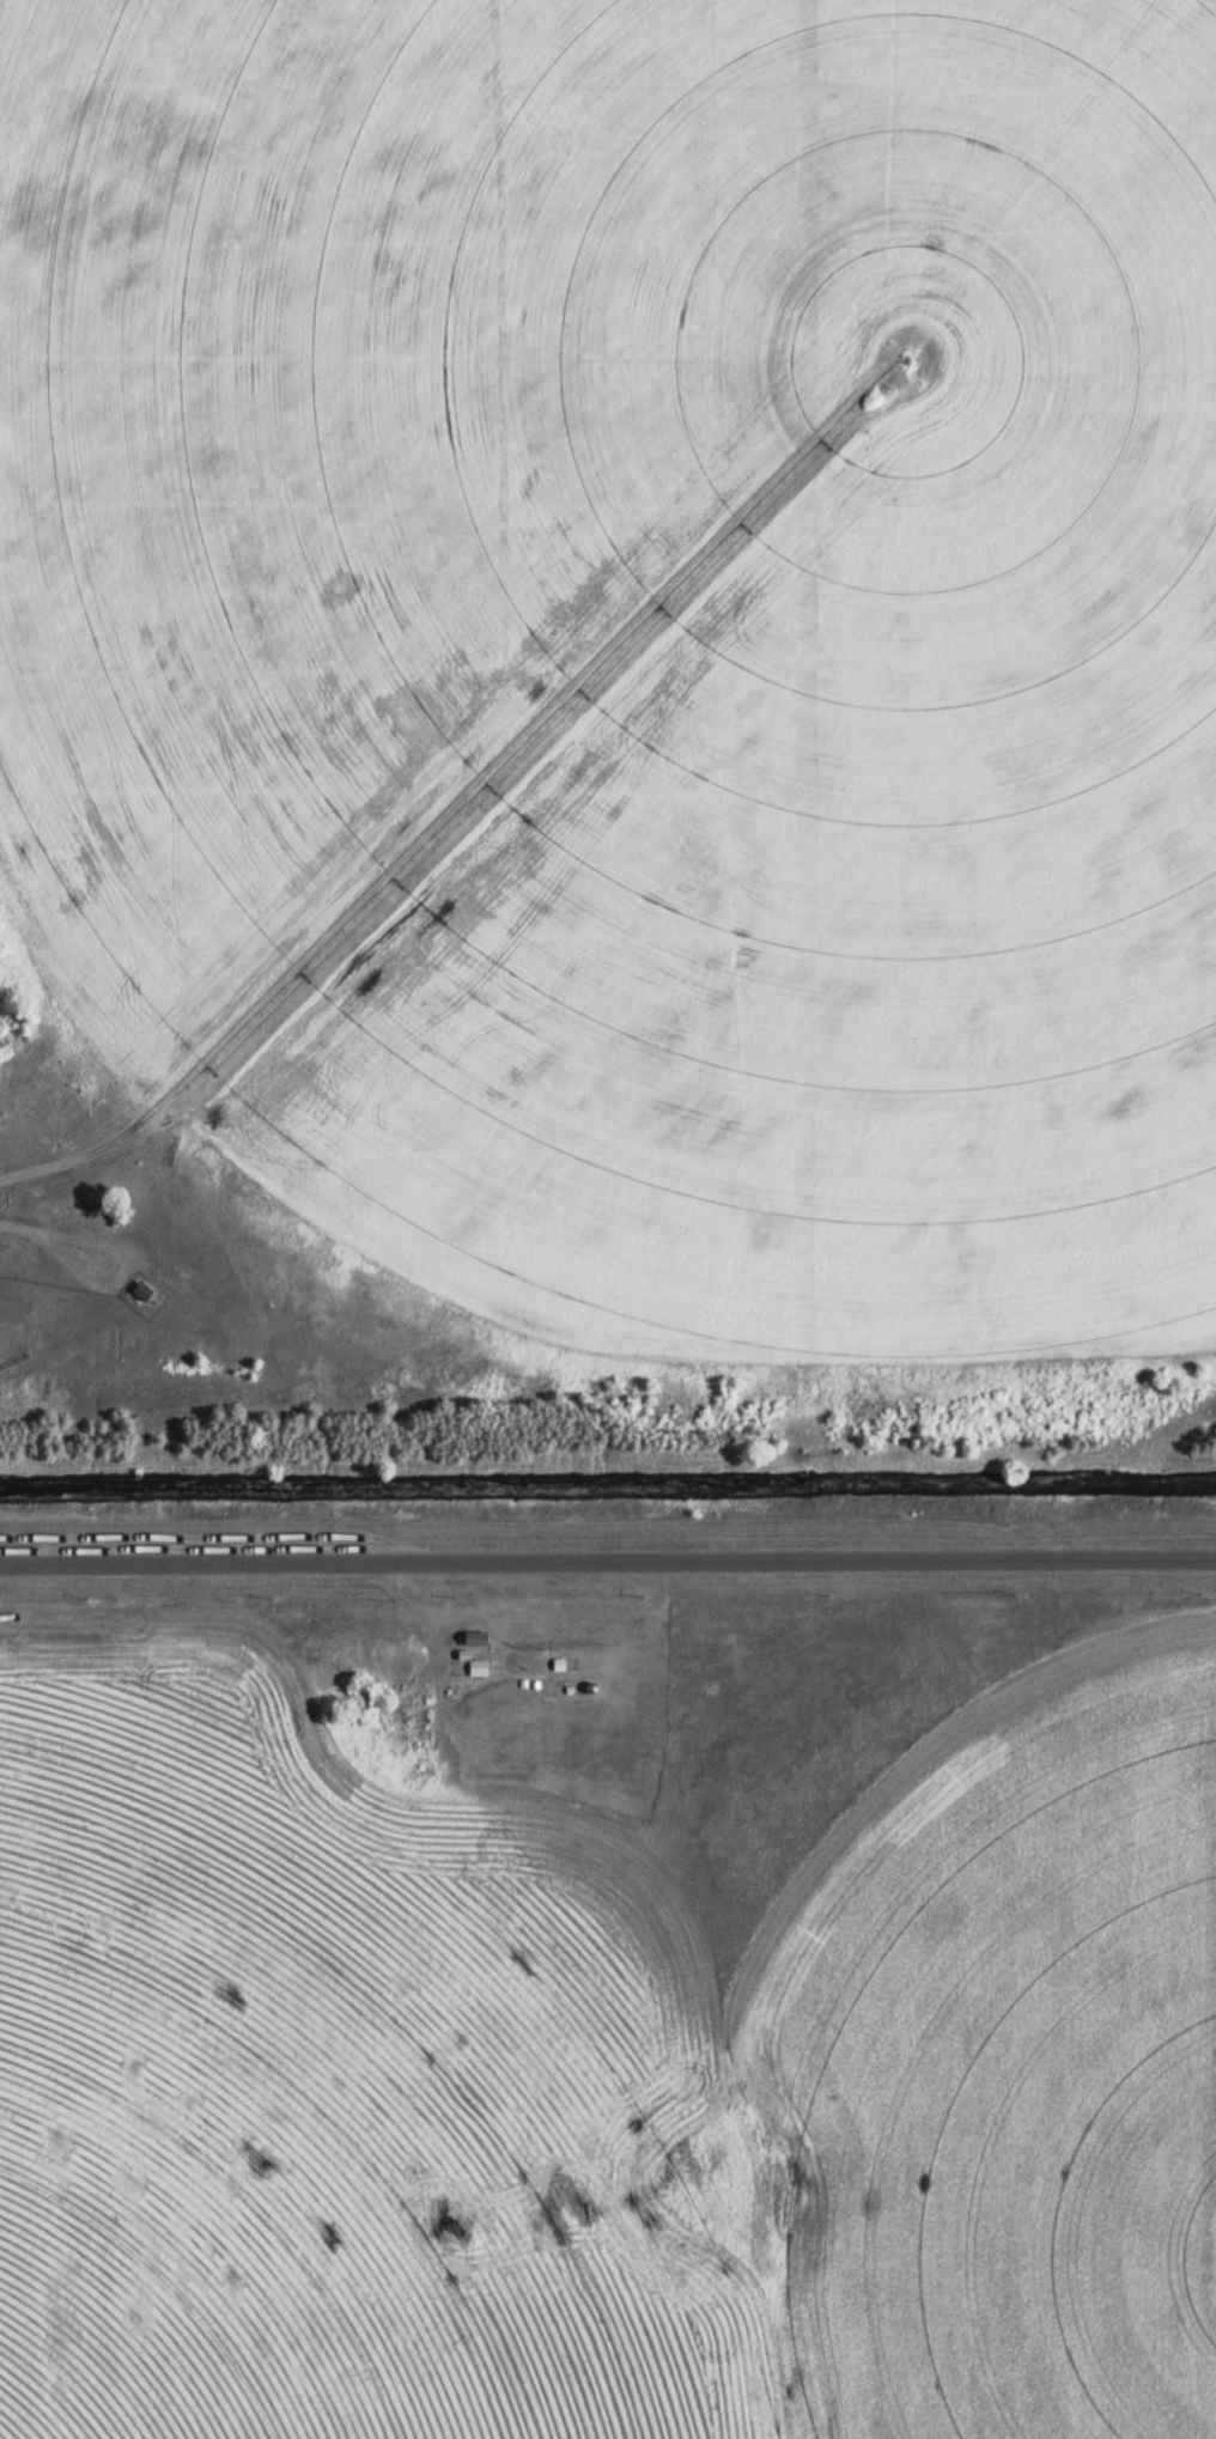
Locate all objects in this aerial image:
wastewater plant: (608, 1219)
building: (141, 1289)
road: (934, 1556)
road: (326, 1558)
building: (474, 1637)
building: (476, 1667)

